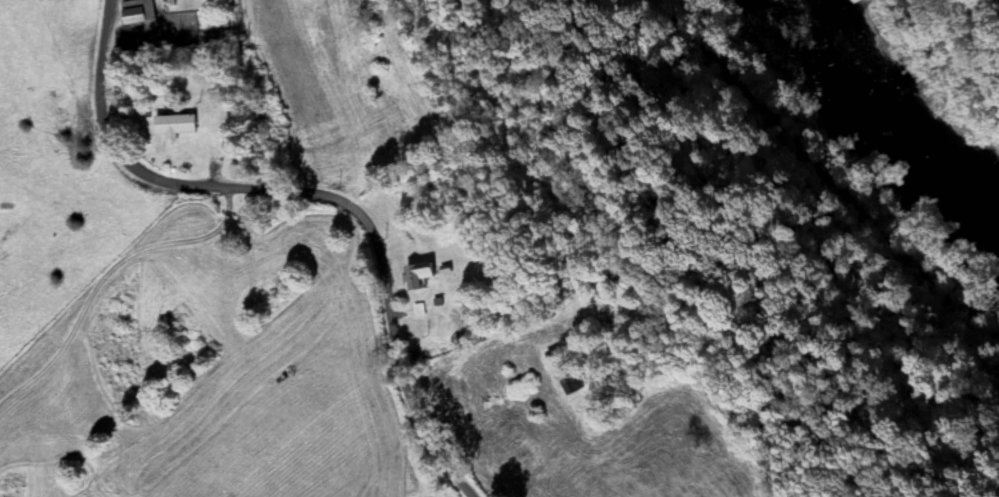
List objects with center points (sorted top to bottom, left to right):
building: (995, 8)
building: (136, 11)
river: (896, 114)
building: (173, 126)
road: (831, 164)
road: (312, 194)
building: (416, 277)
building: (417, 312)
building: (564, 376)

